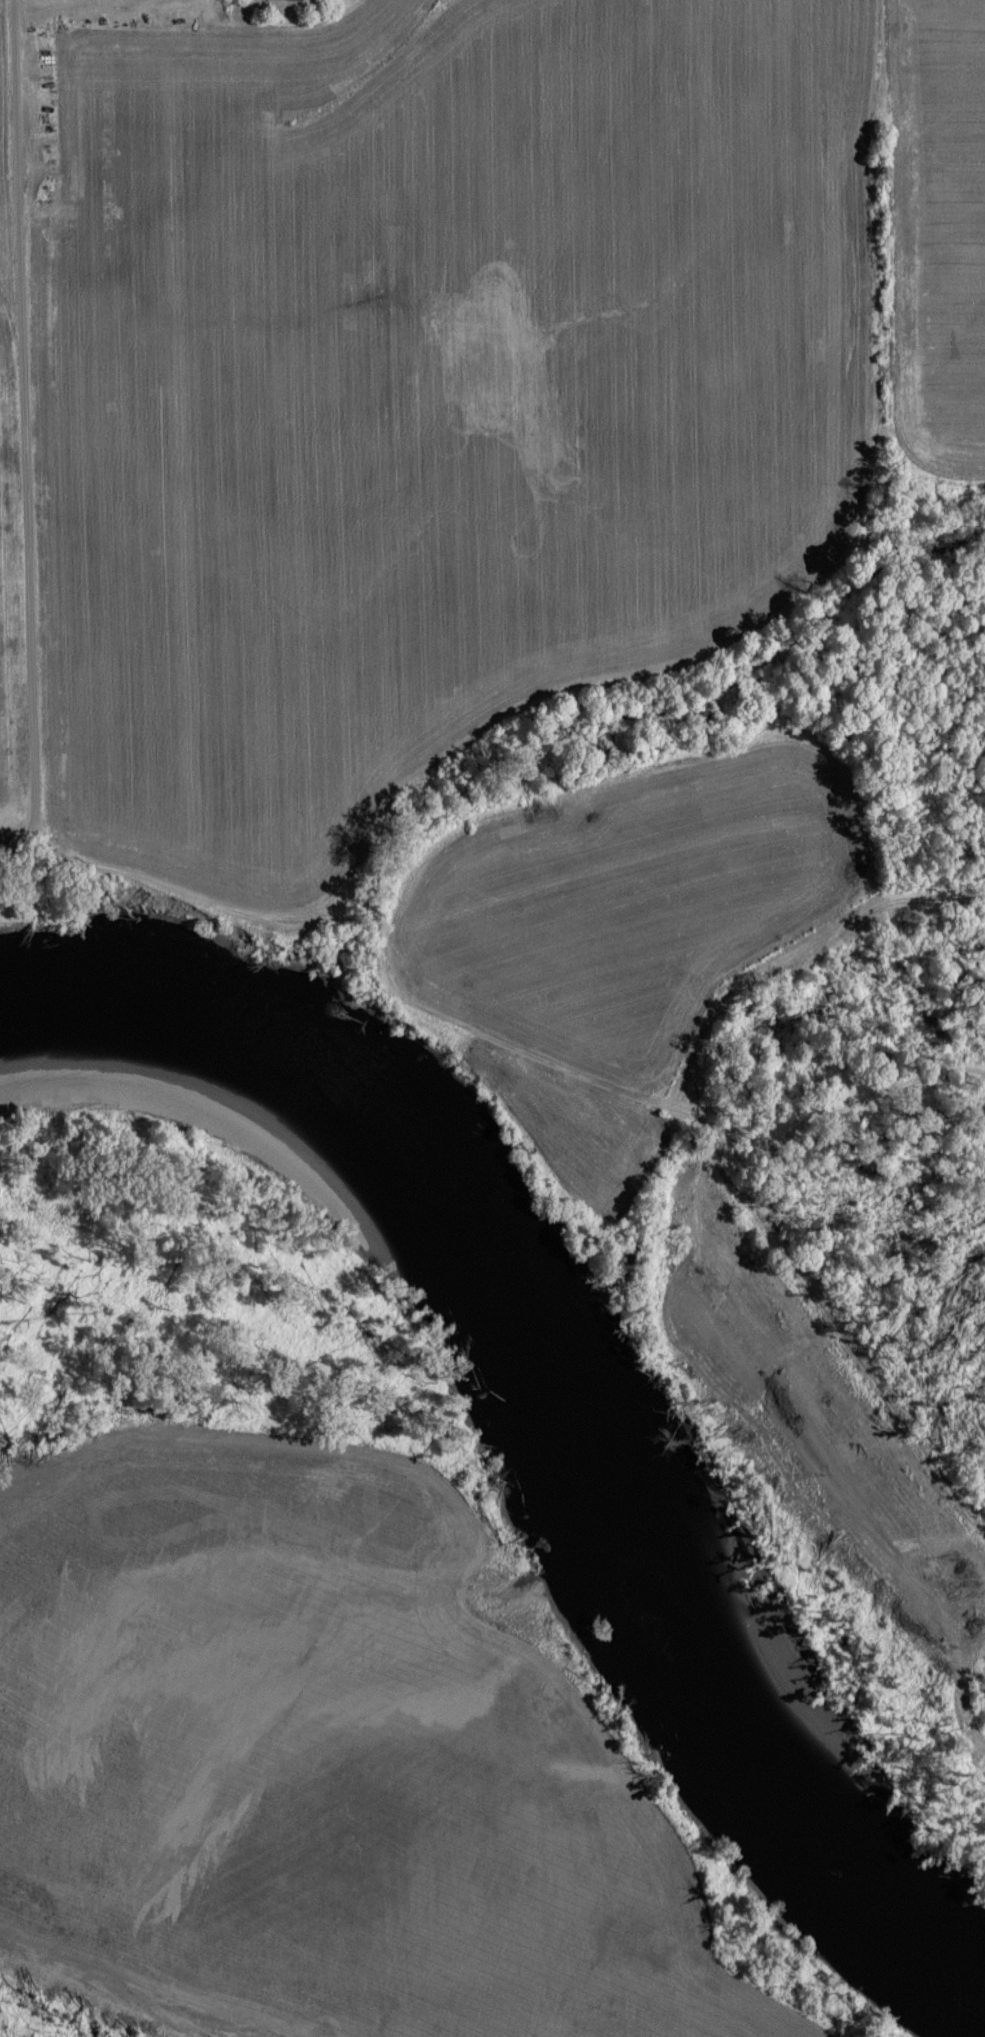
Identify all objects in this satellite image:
road: (23, 438)
road: (581, 1074)
river: (563, 1397)

